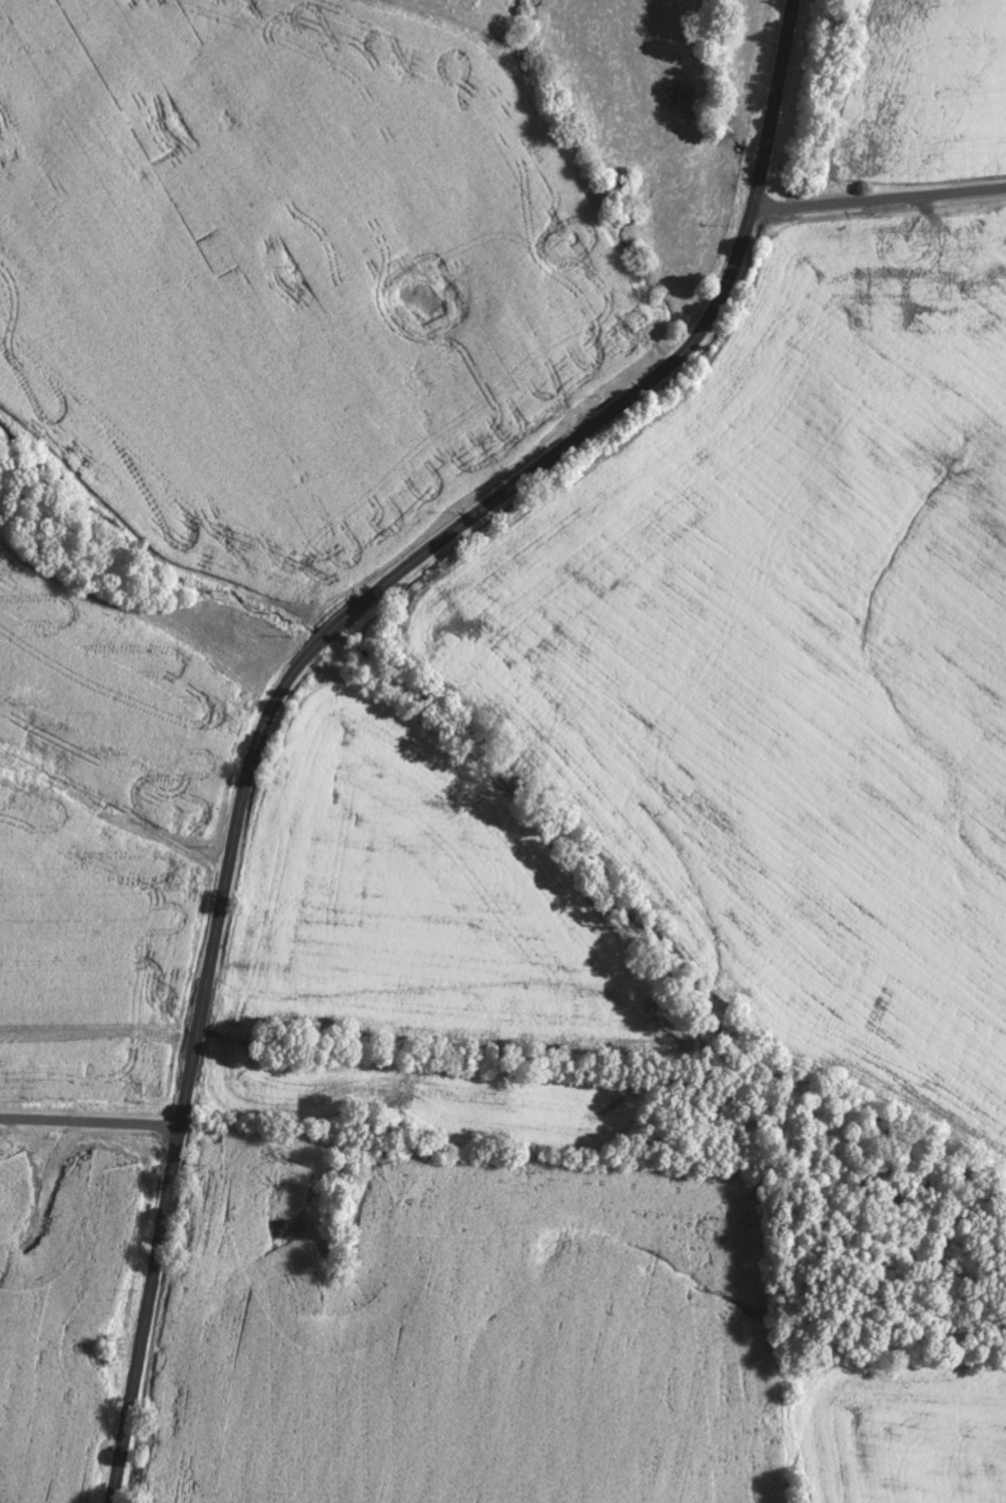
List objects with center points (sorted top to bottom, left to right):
road: (879, 199)
road: (302, 663)
road: (89, 1124)

